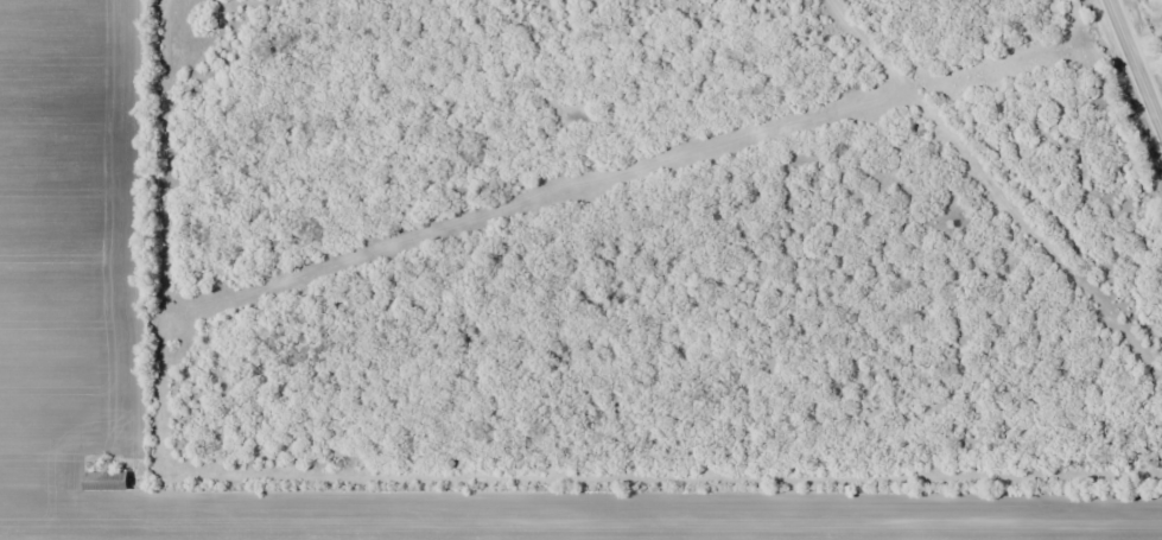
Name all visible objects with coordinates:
road: (1136, 63)

